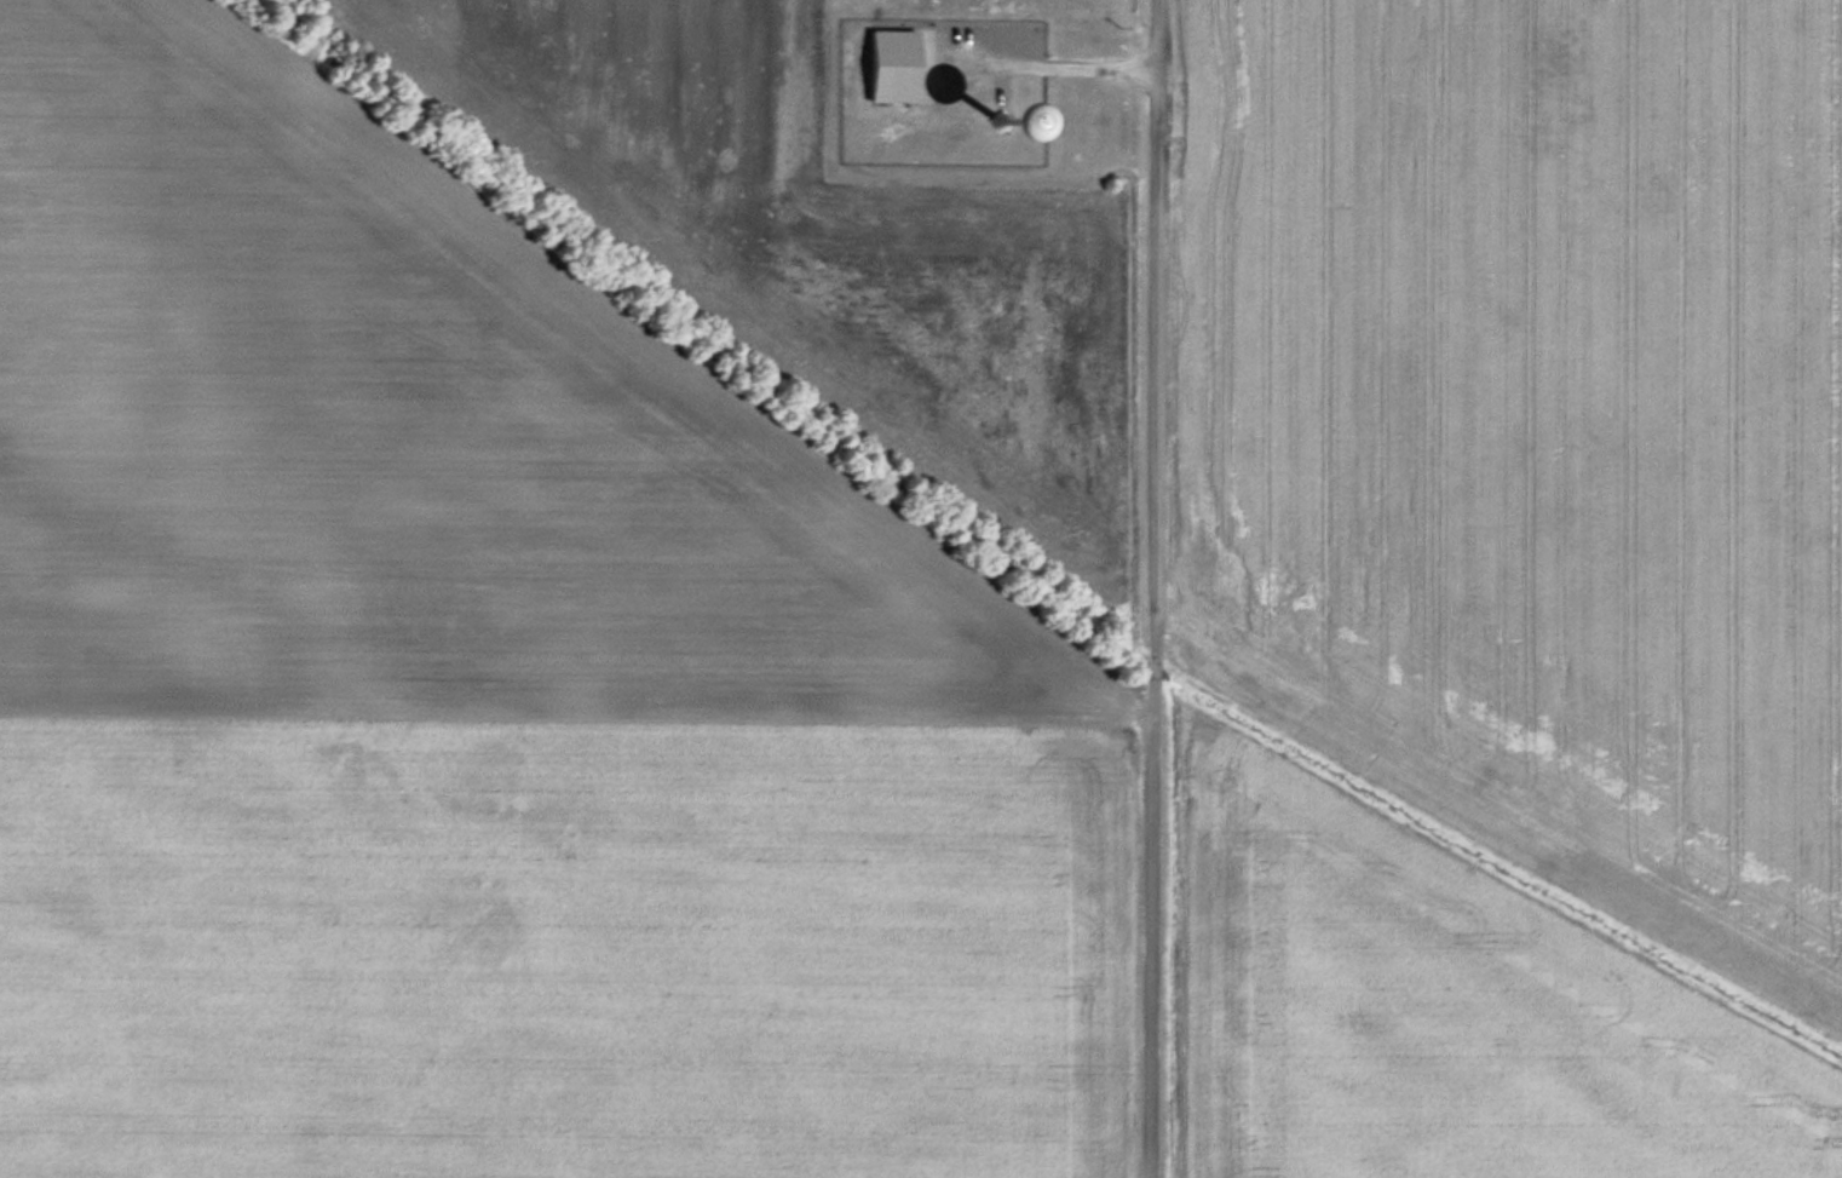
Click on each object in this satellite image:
water tower: (1003, 121)
crop: (1531, 425)
crop: (563, 588)
road: (1151, 588)
crop: (1439, 1011)

